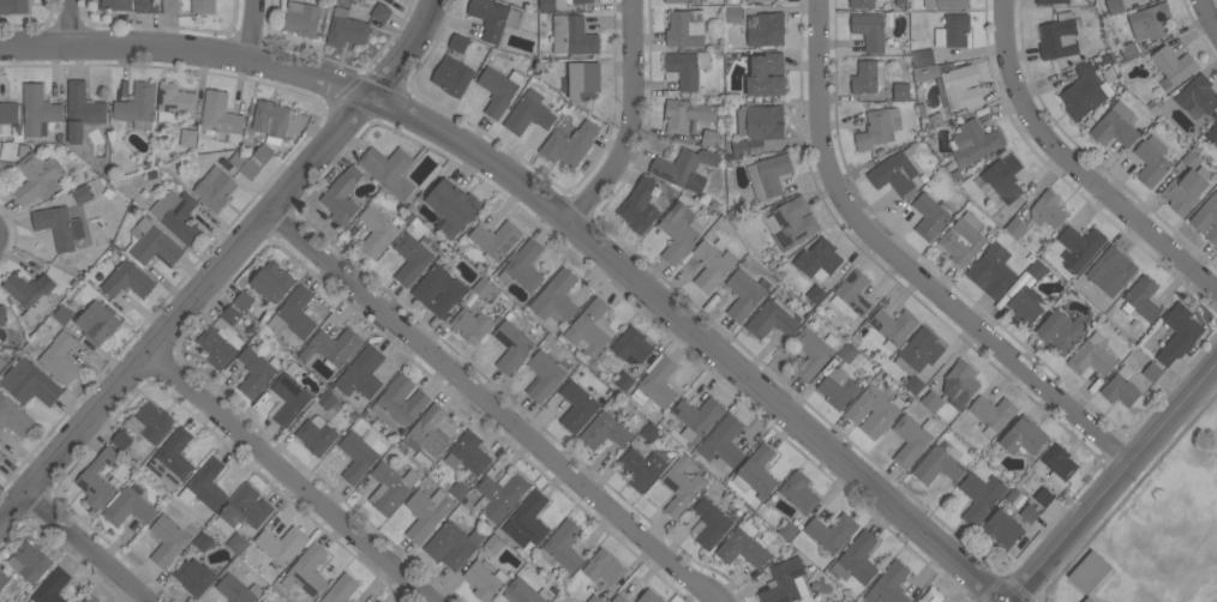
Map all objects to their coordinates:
building: (757, 0)
building: (577, 1)
building: (679, 1)
building: (1051, 1)
building: (862, 4)
building: (946, 4)
building: (115, 5)
building: (546, 5)
building: (13, 6)
building: (145, 6)
building: (170, 6)
building: (202, 6)
building: (1114, 6)
building: (380, 12)
road: (1211, 13)
building: (733, 14)
building: (302, 18)
building: (493, 18)
building: (1149, 22)
road: (70, 23)
building: (346, 28)
building: (766, 28)
road: (254, 29)
building: (684, 29)
building: (869, 29)
building: (953, 30)
building: (572, 35)
building: (1057, 36)
building: (458, 42)
building: (1128, 50)
building: (922, 58)
building: (1174, 64)
building: (687, 67)
building: (925, 72)
building: (767, 74)
building: (451, 76)
building: (868, 77)
building: (582, 80)
building: (959, 88)
building: (498, 89)
building: (900, 90)
building: (1083, 91)
building: (1197, 96)
building: (173, 102)
building: (137, 106)
building: (37, 109)
building: (82, 110)
building: (8, 112)
building: (220, 113)
building: (529, 113)
building: (685, 114)
building: (270, 120)
building: (761, 121)
road: (637, 122)
building: (1115, 126)
building: (879, 127)
building: (1212, 134)
building: (187, 138)
building: (709, 138)
building: (973, 142)
building: (569, 144)
building: (741, 148)
building: (263, 153)
building: (1192, 158)
building: (1151, 159)
building: (244, 164)
road: (1074, 165)
building: (684, 168)
building: (389, 169)
building: (895, 173)
building: (768, 175)
building: (36, 177)
building: (1001, 179)
building: (215, 187)
building: (1186, 189)
building: (82, 193)
building: (342, 195)
building: (639, 206)
building: (451, 207)
building: (1047, 209)
road: (554, 210)
building: (176, 215)
building: (929, 216)
building: (1206, 218)
building: (791, 222)
building: (59, 225)
building: (1015, 227)
building: (678, 230)
building: (377, 231)
building: (494, 239)
building: (963, 239)
building: (150, 243)
building: (1079, 246)
building: (413, 255)
building: (819, 258)
road: (223, 264)
building: (712, 265)
road: (910, 265)
building: (523, 266)
building: (991, 270)
building: (1037, 270)
building: (1110, 270)
building: (126, 279)
building: (272, 281)
building: (481, 288)
building: (438, 289)
building: (744, 293)
building: (30, 294)
building: (816, 294)
building: (851, 294)
building: (556, 296)
building: (1141, 299)
building: (244, 300)
building: (1025, 305)
building: (294, 313)
building: (62, 314)
building: (229, 314)
building: (1, 315)
building: (772, 320)
building: (97, 323)
building: (470, 325)
building: (893, 326)
building: (590, 329)
building: (1061, 331)
building: (1179, 333)
building: (220, 343)
building: (631, 344)
building: (511, 345)
building: (331, 347)
building: (813, 351)
building: (919, 351)
building: (1091, 356)
building: (60, 357)
building: (1, 362)
building: (256, 371)
building: (1152, 371)
building: (361, 372)
building: (544, 375)
building: (840, 379)
building: (623, 380)
building: (29, 383)
building: (657, 383)
building: (913, 384)
building: (959, 384)
building: (1120, 386)
building: (289, 398)
building: (326, 399)
building: (931, 401)
building: (398, 402)
building: (578, 404)
road: (496, 405)
building: (874, 410)
building: (994, 411)
building: (13, 416)
building: (697, 416)
building: (151, 421)
building: (605, 431)
building: (427, 432)
building: (649, 432)
building: (316, 434)
building: (1024, 437)
building: (912, 438)
building: (121, 440)
building: (723, 441)
building: (467, 453)
building: (359, 454)
building: (1, 457)
building: (172, 458)
building: (1059, 463)
building: (937, 465)
building: (641, 468)
building: (756, 472)
road: (293, 475)
building: (96, 478)
road: (1114, 482)
building: (204, 484)
building: (681, 486)
building: (390, 487)
building: (458, 489)
building: (799, 492)
building: (499, 494)
building: (981, 495)
building: (1043, 496)
building: (128, 507)
building: (244, 510)
building: (426, 512)
building: (1029, 513)
building: (527, 520)
building: (711, 523)
building: (1003, 528)
building: (787, 530)
building: (831, 531)
building: (167, 538)
building: (203, 541)
building: (236, 542)
building: (281, 543)
building: (493, 543)
building: (452, 544)
building: (562, 546)
building: (743, 546)
road: (89, 547)
building: (857, 559)
building: (29, 561)
building: (604, 567)
building: (306, 571)
building: (1089, 572)
building: (194, 576)
building: (2, 579)
building: (484, 580)
building: (785, 582)
building: (888, 584)
building: (52, 586)
building: (236, 589)
building: (341, 589)
building: (523, 591)
building: (930, 595)
building: (649, 597)
building: (90, 598)
building: (593, 598)
building: (619, 598)
building: (1087, 600)
building: (260, 601)
building: (378, 601)

